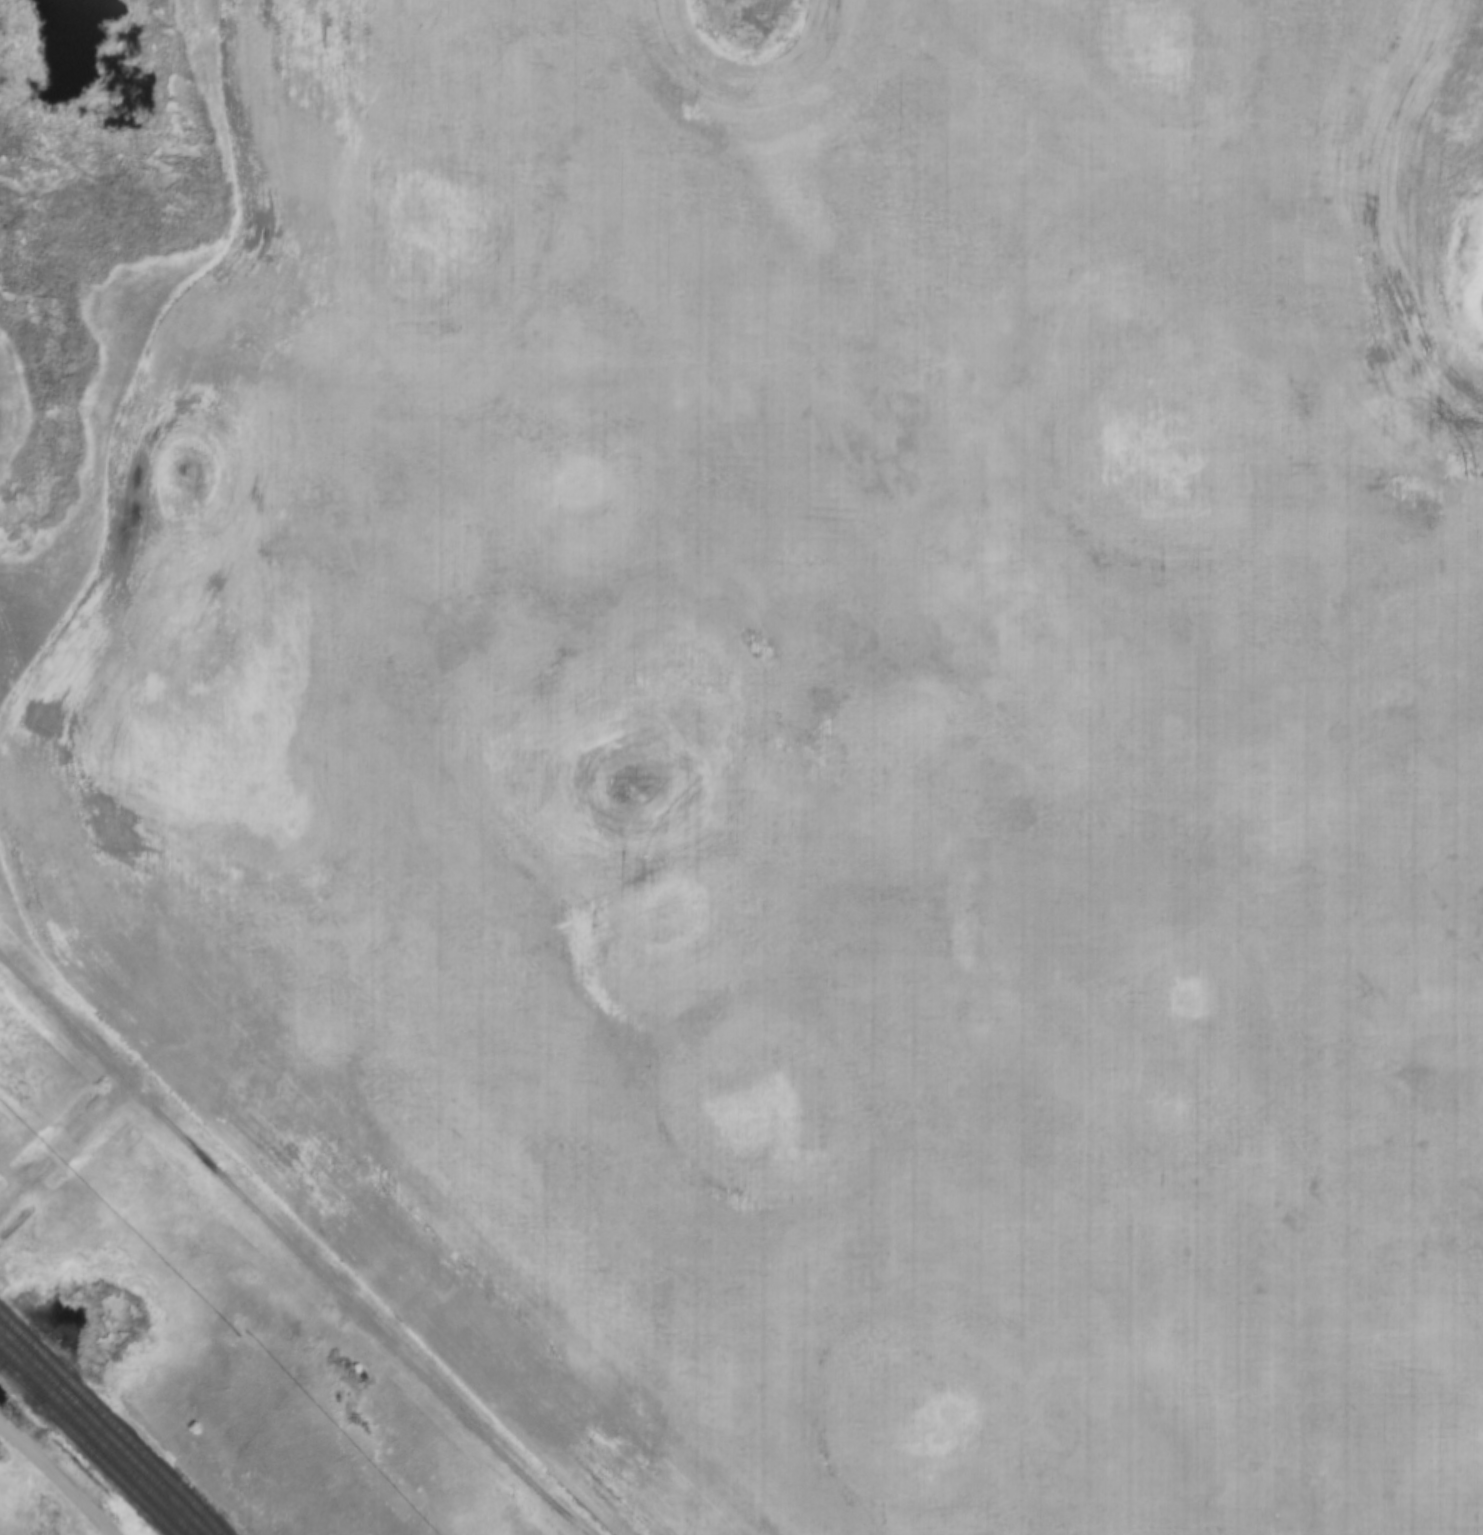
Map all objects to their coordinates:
road: (290, 1247)
railway: (20, 1381)
road: (269, 1418)
railway: (112, 1422)
railway: (105, 1430)
railway: (97, 1438)
railway: (89, 1447)
road: (57, 1479)

